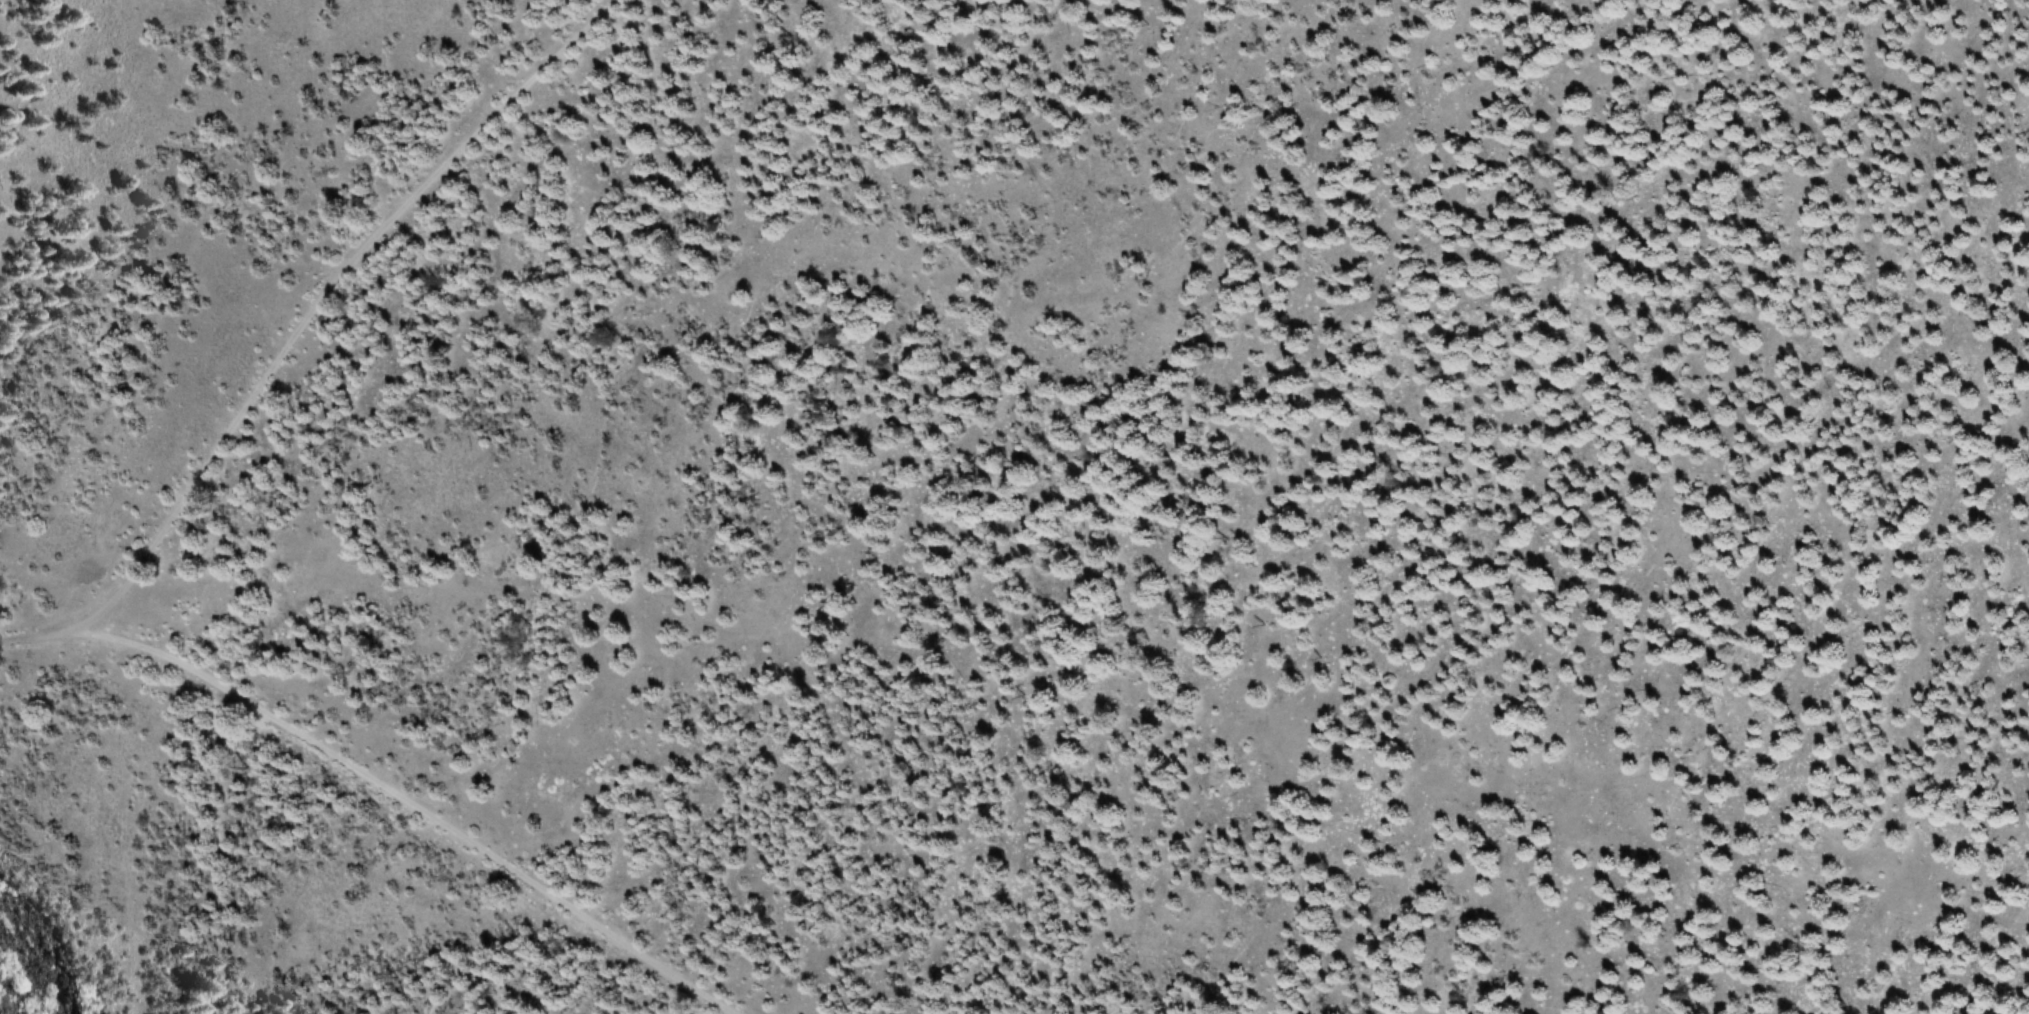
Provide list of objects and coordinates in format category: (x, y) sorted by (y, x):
road: (329, 309)
road: (381, 785)

